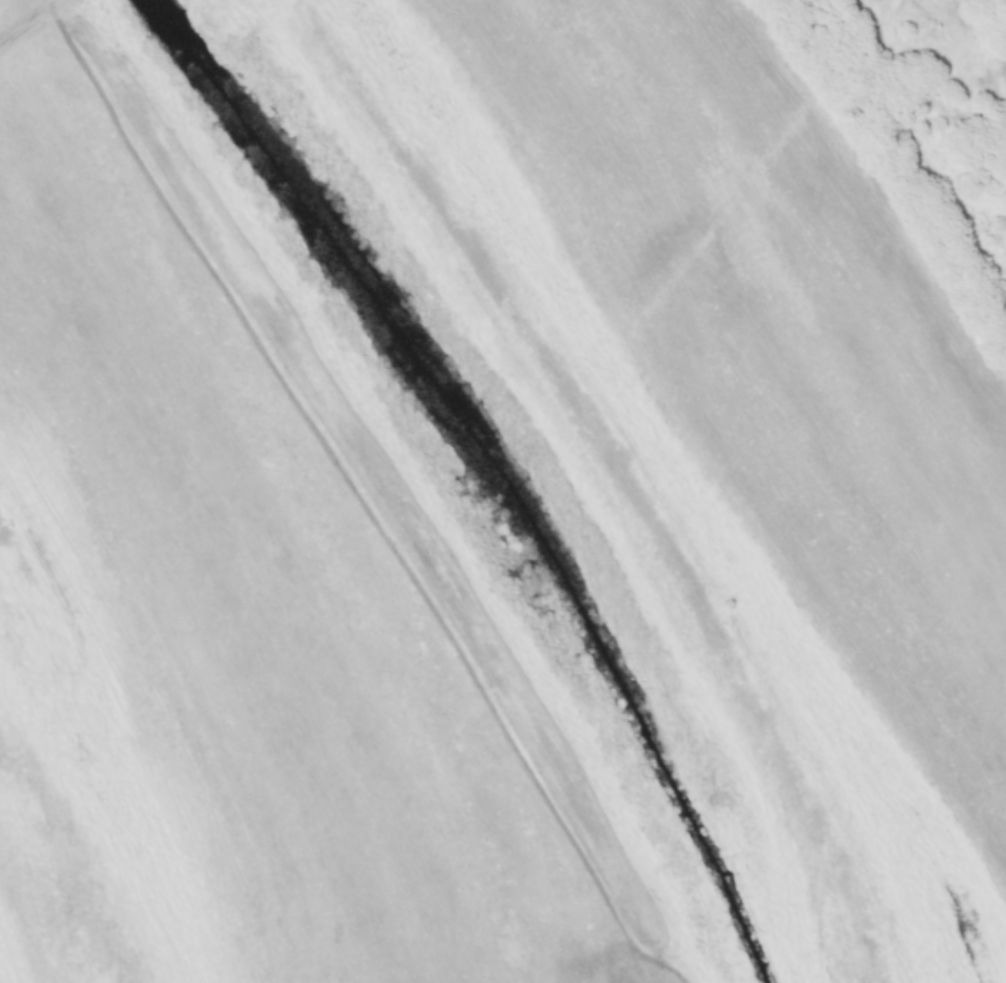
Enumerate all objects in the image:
road: (26, 18)

